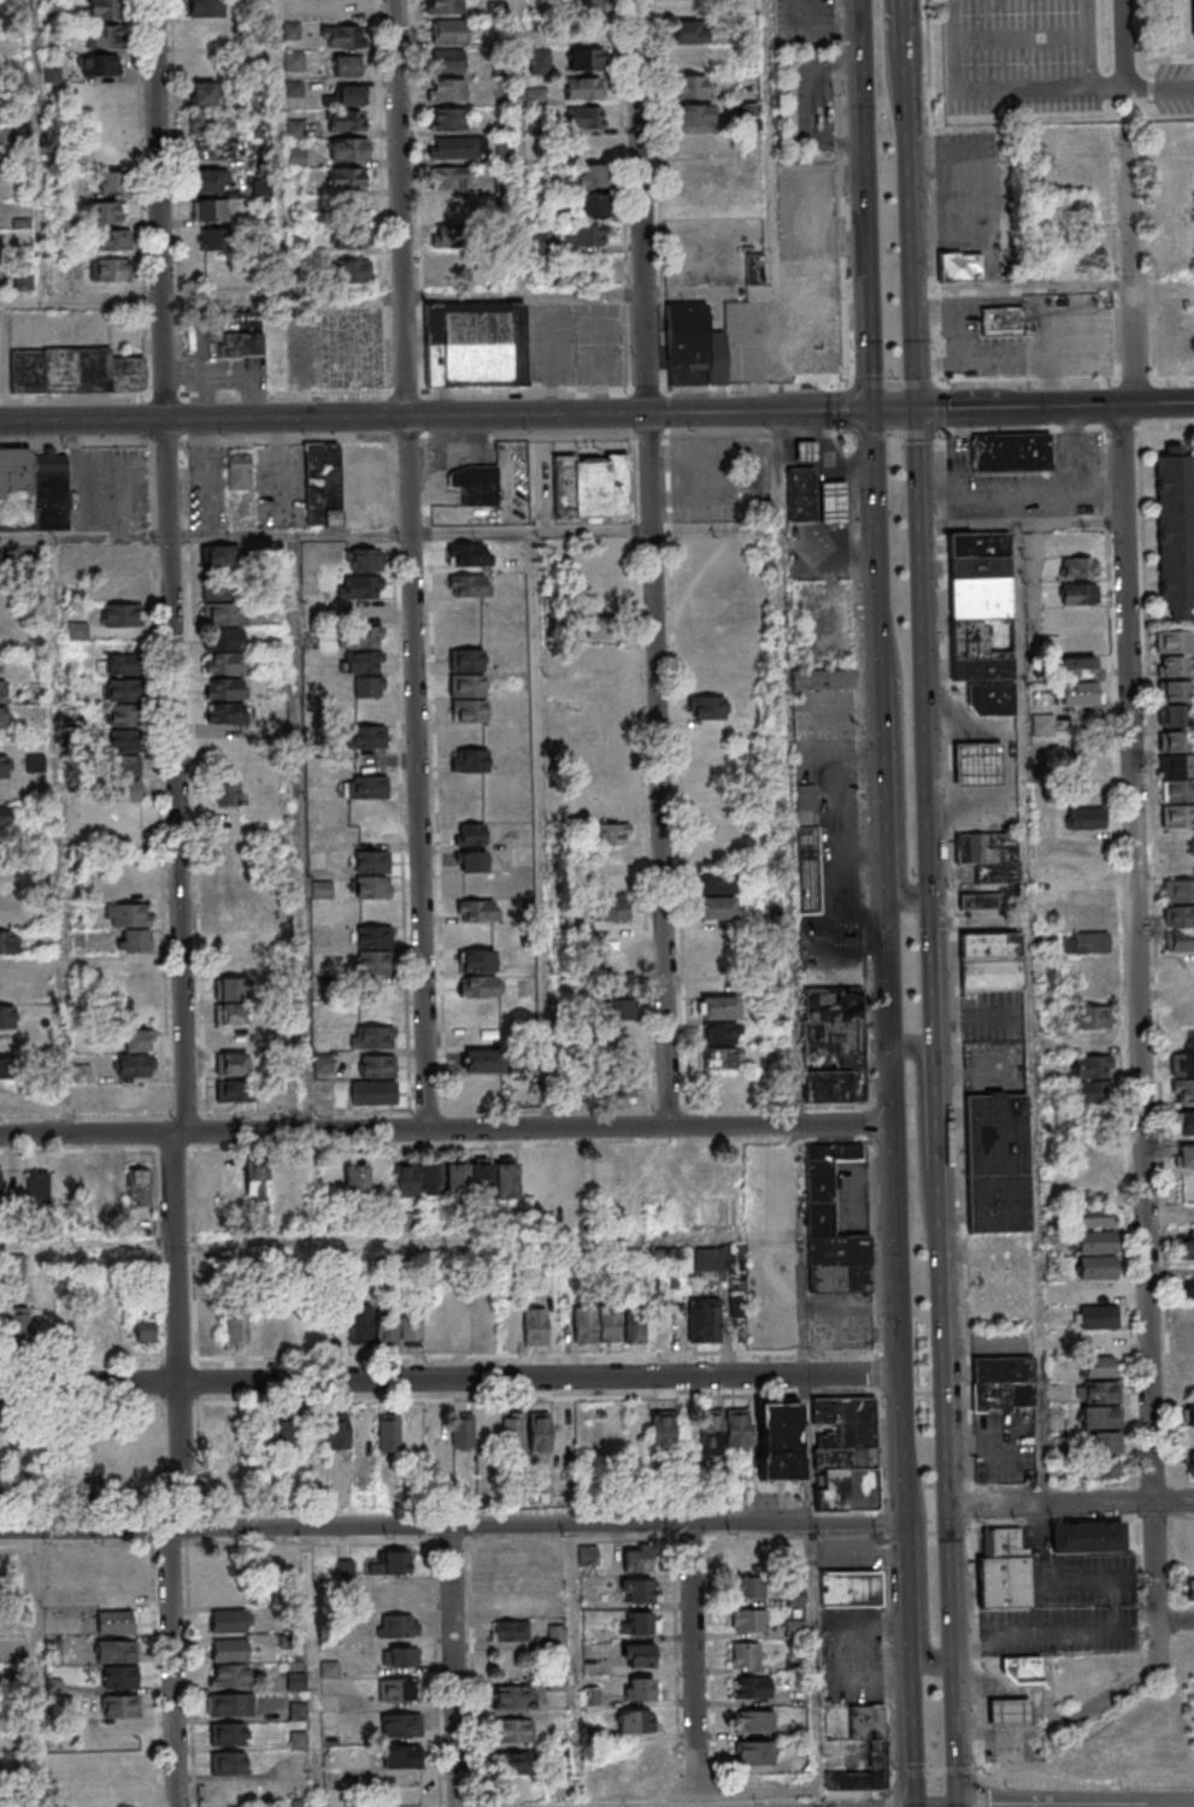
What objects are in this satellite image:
building: (1193, 1)
building: (443, 6)
building: (588, 6)
building: (204, 7)
building: (681, 7)
building: (104, 8)
building: (346, 8)
parking lot: (805, 23)
building: (447, 30)
building: (689, 31)
building: (106, 35)
building: (342, 36)
road: (1019, 37)
road: (1088, 43)
road: (1124, 43)
parking lot: (1022, 57)
building: (586, 58)
road: (1159, 58)
building: (447, 60)
building: (105, 65)
building: (345, 65)
road: (893, 70)
road: (907, 70)
road: (1160, 86)
building: (690, 87)
road: (998, 87)
building: (583, 88)
parking lot: (1175, 88)
building: (446, 89)
building: (204, 92)
building: (346, 95)
building: (694, 116)
building: (446, 118)
building: (586, 118)
building: (346, 120)
building: (210, 122)
building: (1182, 136)
building: (457, 147)
road: (524, 147)
road: (283, 148)
road: (42, 149)
building: (348, 149)
building: (502, 149)
building: (296, 157)
building: (590, 175)
building: (695, 175)
building: (452, 177)
building: (348, 178)
building: (208, 181)
building: (110, 182)
road: (931, 192)
parking lot: (970, 192)
road: (657, 194)
road: (622, 195)
road: (383, 196)
road: (418, 196)
road: (140, 200)
road: (175, 201)
building: (592, 205)
road: (871, 205)
building: (455, 206)
road: (776, 206)
building: (208, 208)
building: (102, 212)
building: (586, 234)
building: (351, 236)
building: (454, 237)
building: (212, 240)
building: (112, 241)
road: (646, 263)
building: (960, 266)
road: (164, 269)
building: (110, 270)
building: (352, 271)
road: (913, 273)
road: (1024, 287)
road: (323, 295)
building: (1002, 320)
building: (693, 340)
building: (241, 345)
building: (475, 345)
road: (983, 358)
road: (935, 360)
road: (552, 363)
building: (75, 370)
road: (1175, 377)
road: (1135, 378)
road: (1030, 381)
road: (895, 384)
road: (754, 385)
road: (646, 389)
road: (313, 396)
road: (1055, 406)
road: (898, 408)
traffic signals: (918, 408)
road: (945, 408)
traffic signals: (878, 410)
road: (439, 416)
road: (899, 434)
building: (1011, 452)
building: (810, 454)
building: (239, 470)
parking lot: (1034, 483)
building: (346, 484)
building: (476, 484)
building: (592, 485)
building: (34, 489)
road: (1104, 492)
road: (1046, 493)
building: (805, 498)
building: (836, 506)
road: (881, 507)
road: (1022, 525)
building: (1176, 530)
road: (392, 534)
building: (1074, 542)
building: (470, 554)
building: (117, 557)
building: (219, 557)
building: (361, 559)
road: (414, 565)
building: (1080, 566)
building: (470, 584)
building: (363, 587)
building: (1080, 605)
building: (982, 606)
building: (122, 616)
building: (223, 626)
building: (601, 626)
building: (361, 637)
building: (1, 641)
building: (1174, 641)
road: (924, 653)
building: (1076, 657)
building: (364, 661)
building: (1172, 666)
building: (465, 672)
building: (818, 684)
building: (369, 687)
building: (224, 688)
building: (1, 691)
building: (1078, 693)
building: (994, 701)
building: (1174, 704)
building: (706, 707)
building: (367, 710)
building: (469, 710)
building: (224, 713)
building: (2, 717)
building: (367, 740)
building: (1175, 755)
building: (469, 760)
road: (904, 760)
building: (124, 766)
building: (981, 767)
building: (367, 790)
building: (1177, 791)
building: (229, 795)
building: (4, 796)
building: (371, 812)
building: (1084, 820)
road: (664, 825)
building: (1177, 828)
road: (546, 830)
road: (306, 834)
building: (470, 834)
road: (63, 837)
road: (183, 837)
building: (614, 846)
building: (807, 849)
building: (989, 857)
building: (471, 860)
building: (370, 861)
road: (892, 864)
building: (1178, 866)
building: (714, 882)
building: (372, 888)
building: (1178, 890)
road: (795, 893)
building: (1088, 894)
road: (865, 895)
traffic signals: (933, 897)
building: (980, 901)
building: (716, 907)
building: (611, 908)
building: (477, 910)
building: (6, 917)
building: (1178, 917)
building: (1084, 918)
building: (130, 925)
building: (375, 935)
building: (1178, 941)
building: (8, 942)
building: (1086, 942)
road: (1135, 958)
road: (955, 959)
building: (477, 960)
building: (371, 961)
building: (990, 961)
building: (7, 978)
building: (477, 985)
building: (613, 987)
building: (230, 1001)
building: (719, 1007)
building: (478, 1011)
road: (936, 1011)
road: (1034, 1014)
building: (1183, 1014)
building: (719, 1032)
building: (622, 1034)
building: (833, 1035)
building: (378, 1037)
building: (136, 1040)
building: (1183, 1053)
building: (1092, 1055)
building: (720, 1058)
building: (481, 1060)
building: (529, 1061)
building: (233, 1064)
building: (133, 1065)
building: (377, 1066)
building: (82, 1072)
building: (8, 1081)
building: (617, 1082)
building: (234, 1090)
building: (1182, 1090)
building: (374, 1093)
road: (787, 1124)
building: (1184, 1124)
road: (337, 1131)
road: (925, 1147)
building: (1184, 1158)
building: (998, 1163)
building: (681, 1176)
building: (457, 1178)
building: (581, 1178)
building: (87, 1179)
building: (112, 1179)
building: (357, 1181)
building: (267, 1182)
building: (139, 1185)
building: (37, 1187)
building: (1184, 1214)
building: (831, 1225)
building: (1188, 1246)
building: (711, 1260)
building: (1000, 1277)
building: (1188, 1288)
building: (1096, 1291)
building: (704, 1319)
road: (905, 1323)
building: (17, 1324)
building: (584, 1324)
building: (610, 1324)
building: (43, 1325)
building: (235, 1325)
building: (534, 1325)
building: (484, 1326)
building: (384, 1328)
building: (411, 1328)
building: (360, 1329)
building: (142, 1331)
building: (210, 1331)
building: (635, 1331)
building: (1187, 1341)
road: (453, 1377)
building: (1002, 1384)
building: (1100, 1405)
building: (1187, 1414)
building: (512, 1429)
building: (549, 1430)
building: (661, 1430)
building: (723, 1430)
building: (461, 1431)
building: (337, 1432)
building: (388, 1432)
building: (778, 1441)
building: (1102, 1442)
road: (811, 1449)
building: (846, 1453)
building: (1190, 1464)
road: (947, 1467)
building: (1101, 1467)
road: (187, 1471)
road: (1182, 1481)
road: (1152, 1482)
road: (1053, 1484)
road: (1135, 1500)
road: (1171, 1500)
road: (1071, 1502)
road: (971, 1503)
road: (1153, 1518)
road: (1183, 1518)
road: (1053, 1520)
road: (801, 1524)
road: (570, 1526)
road: (223, 1530)
building: (1086, 1536)
road: (1043, 1544)
building: (587, 1555)
building: (636, 1558)
building: (388, 1561)
road: (925, 1561)
building: (1006, 1572)
building: (508, 1581)
building: (747, 1585)
building: (636, 1589)
building: (851, 1589)
building: (1190, 1589)
road: (911, 1606)
building: (748, 1620)
building: (116, 1621)
building: (228, 1621)
building: (635, 1623)
road: (1174, 1623)
building: (398, 1625)
building: (511, 1630)
road: (1042, 1632)
road: (981, 1646)
building: (229, 1649)
building: (116, 1650)
building: (745, 1654)
building: (637, 1655)
building: (399, 1656)
road: (694, 1656)
road: (451, 1666)
road: (576, 1666)
building: (1024, 1667)
building: (329, 1668)
building: (228, 1674)
building: (119, 1676)
building: (640, 1688)
building: (751, 1688)
building: (396, 1689)
building: (514, 1696)
building: (230, 1705)
building: (120, 1706)
building: (1010, 1709)
road: (819, 1718)
building: (753, 1720)
building: (635, 1721)
building: (865, 1721)
building: (401, 1724)
building: (512, 1730)
building: (229, 1734)
road: (916, 1749)
building: (752, 1752)
building: (401, 1755)
building: (513, 1761)
building: (228, 1762)
building: (123, 1764)
road: (934, 1771)
road: (1087, 1779)
building: (854, 1782)
road: (982, 1788)
building: (123, 1793)
road: (889, 1799)

